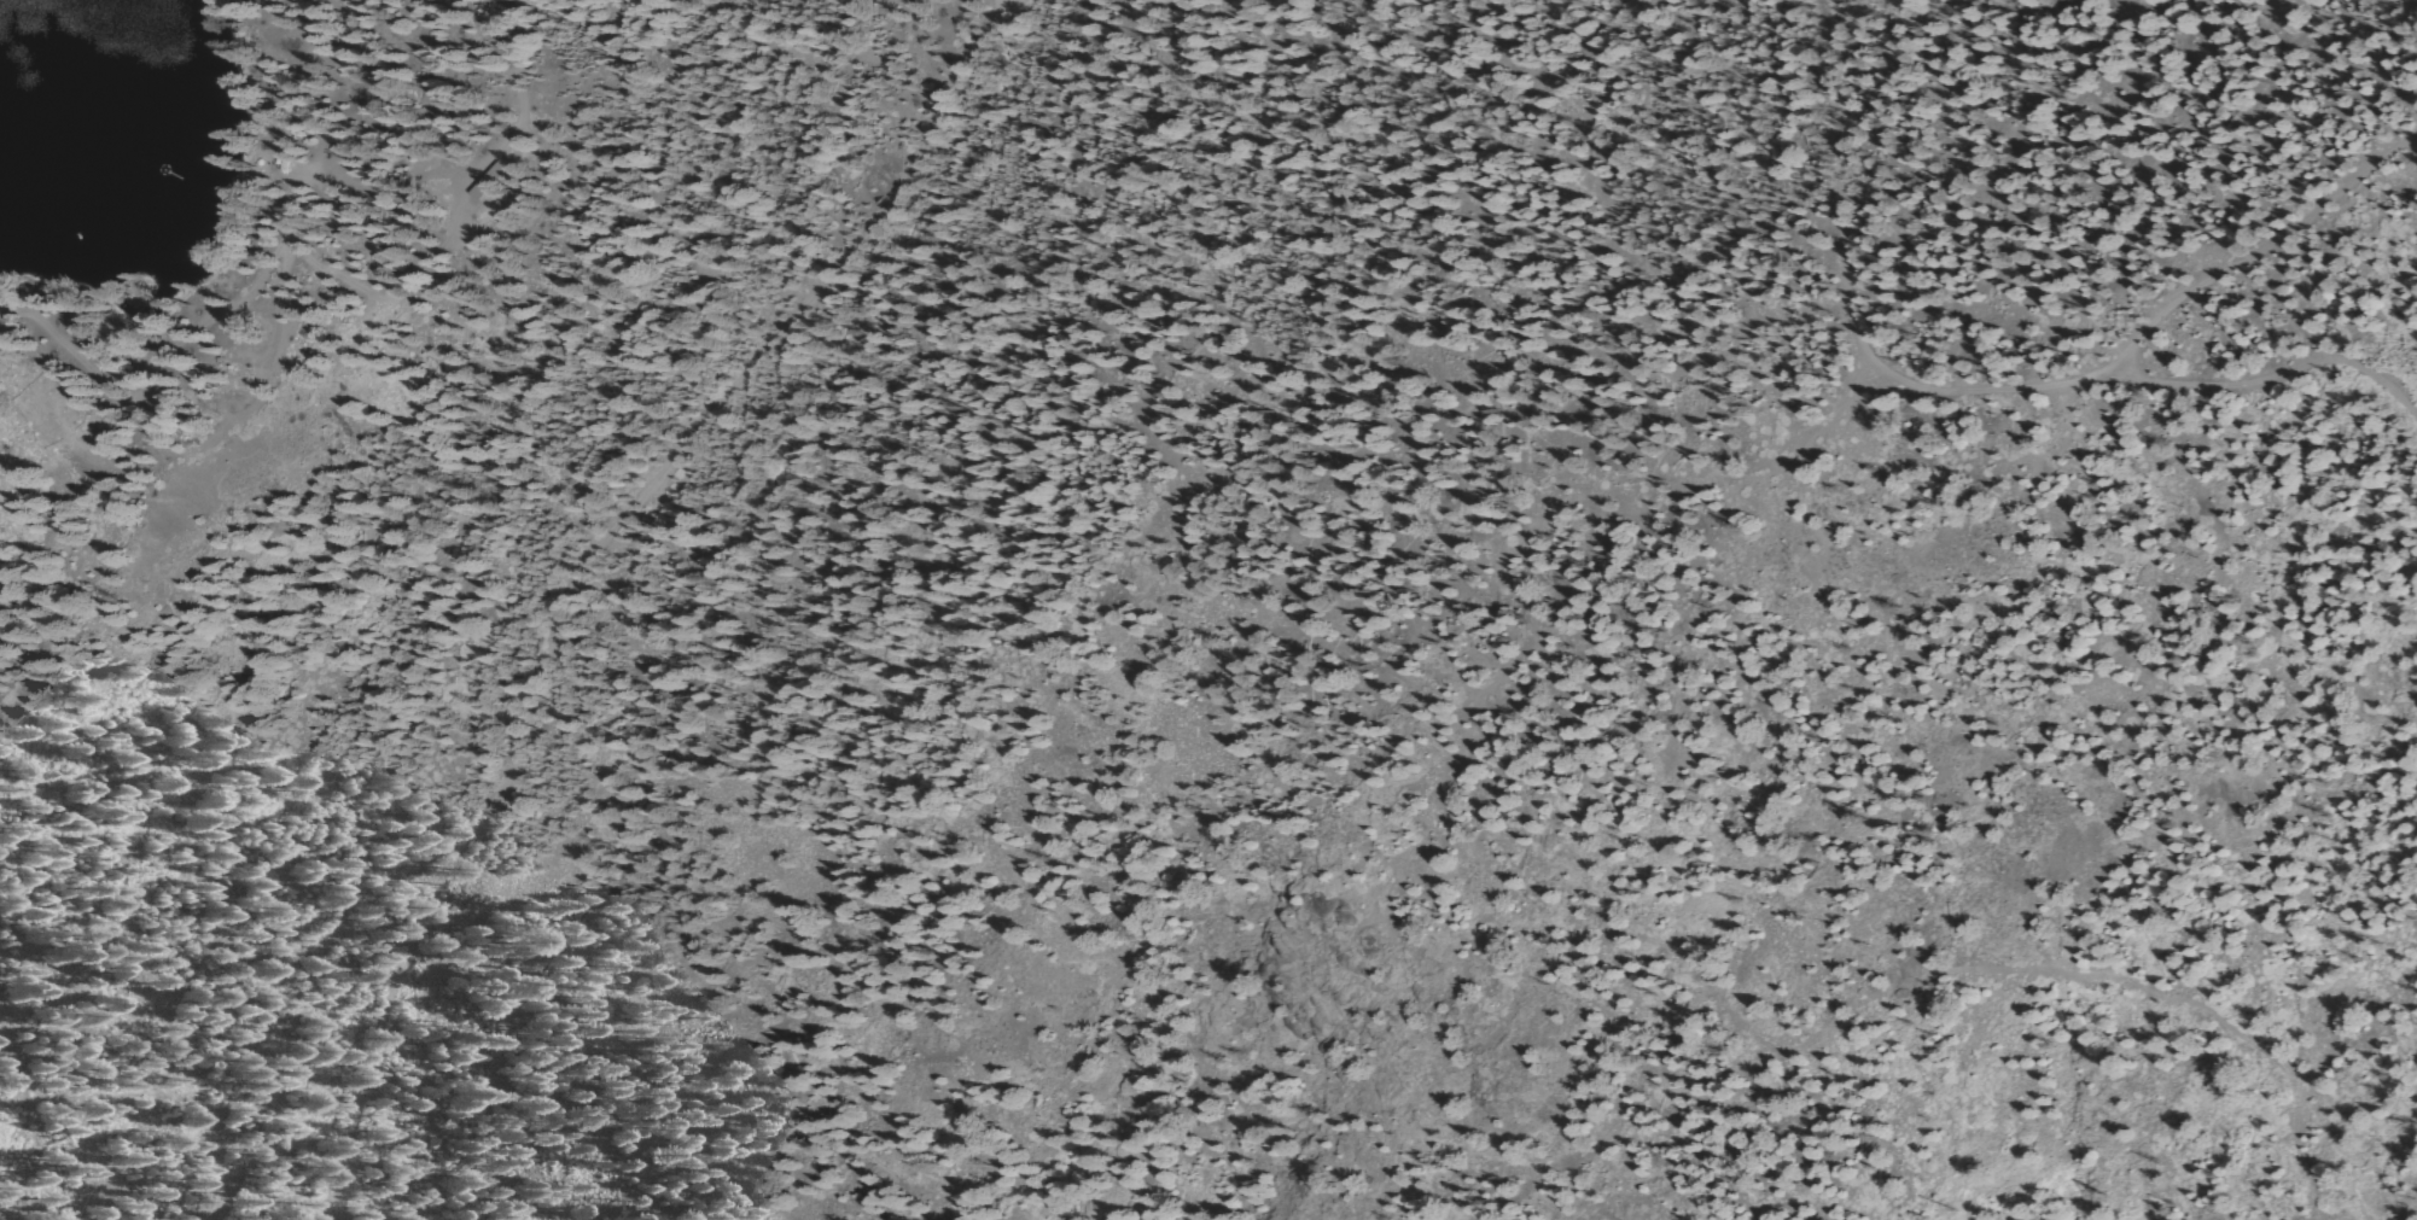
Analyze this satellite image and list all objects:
road: (256, 288)
road: (1978, 381)
road: (542, 572)

